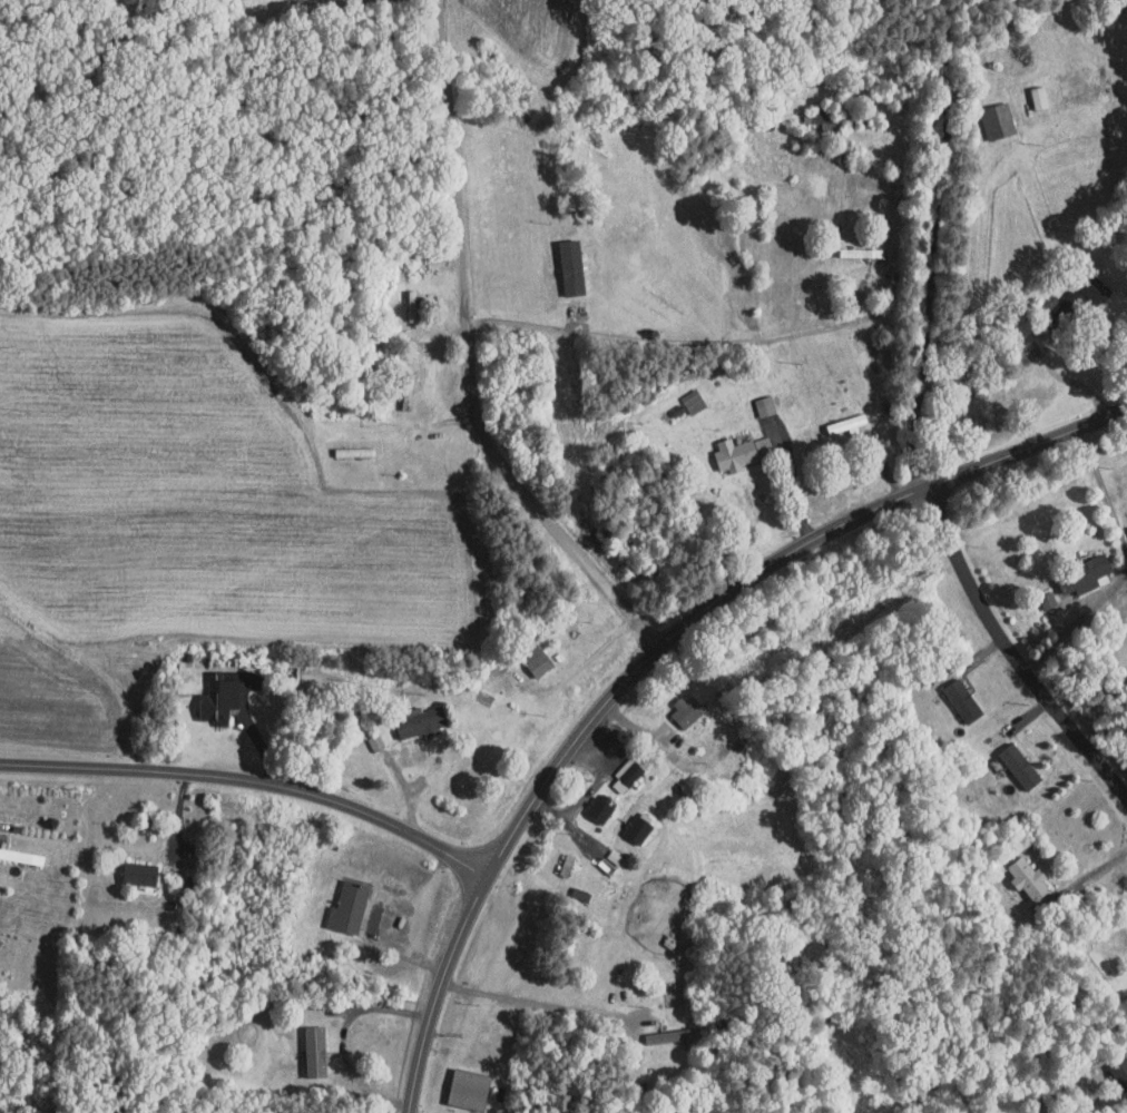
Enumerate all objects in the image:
building: (986, 114)
building: (816, 117)
road: (935, 246)
building: (1079, 283)
road: (683, 341)
road: (470, 356)
road: (1067, 378)
building: (680, 394)
building: (753, 398)
building: (834, 416)
building: (728, 444)
road: (794, 490)
building: (1123, 525)
building: (1075, 568)
road: (1125, 568)
road: (657, 652)
road: (1008, 652)
building: (527, 657)
building: (206, 692)
building: (950, 693)
building: (675, 703)
building: (408, 716)
building: (364, 735)
building: (1008, 759)
building: (615, 768)
road: (253, 779)
road: (591, 791)
building: (588, 801)
building: (625, 823)
building: (551, 856)
building: (128, 866)
building: (1016, 870)
road: (1096, 873)
building: (337, 900)
building: (1126, 907)
road: (533, 999)
building: (659, 1028)
road: (344, 1036)
building: (303, 1044)
building: (1114, 1064)
building: (458, 1082)

